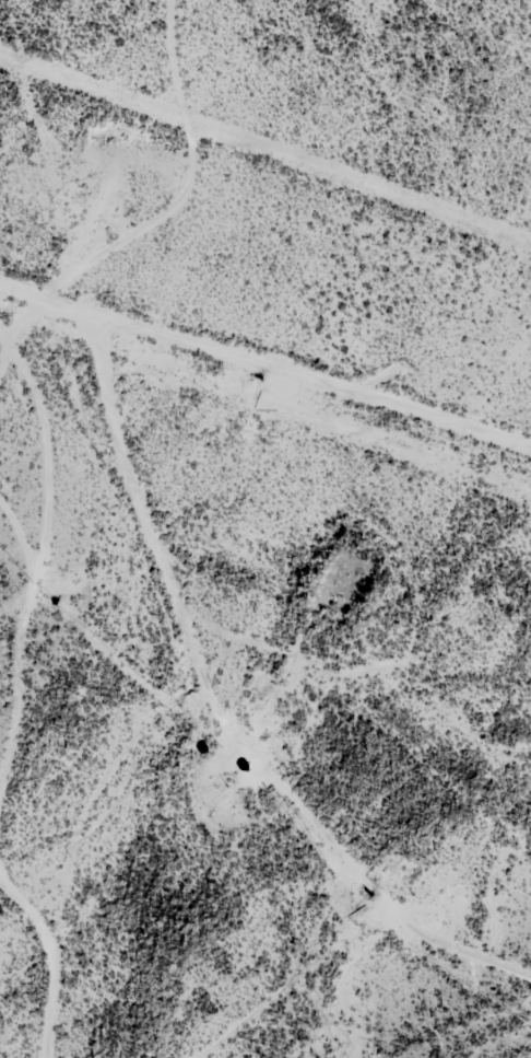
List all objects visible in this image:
road: (268, 336)

